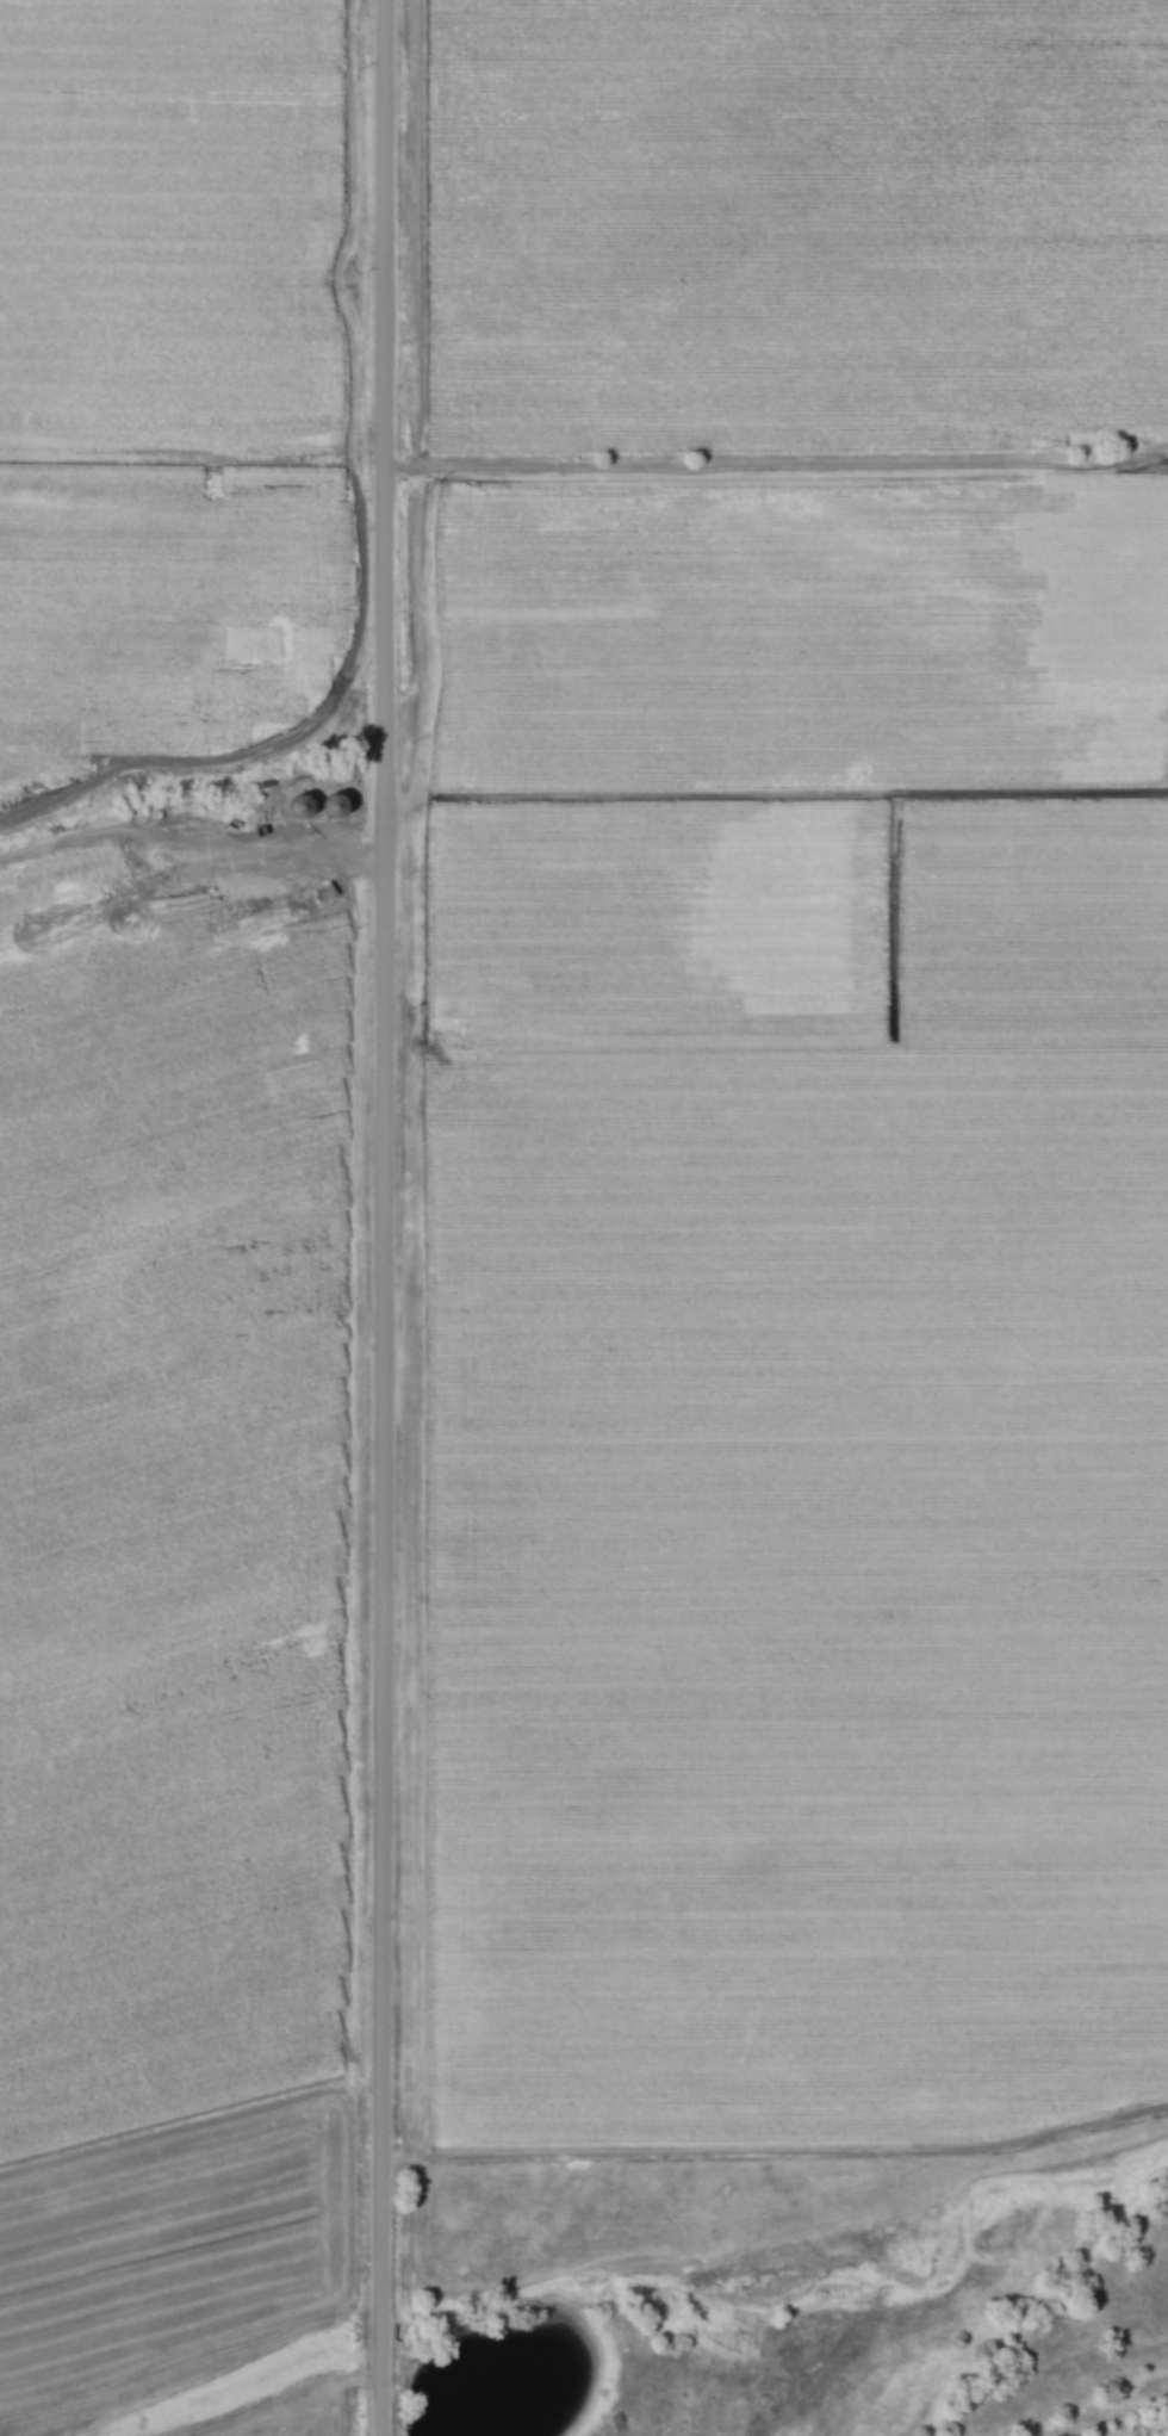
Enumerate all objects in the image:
building: (305, 808)
building: (327, 891)
road: (384, 1217)

